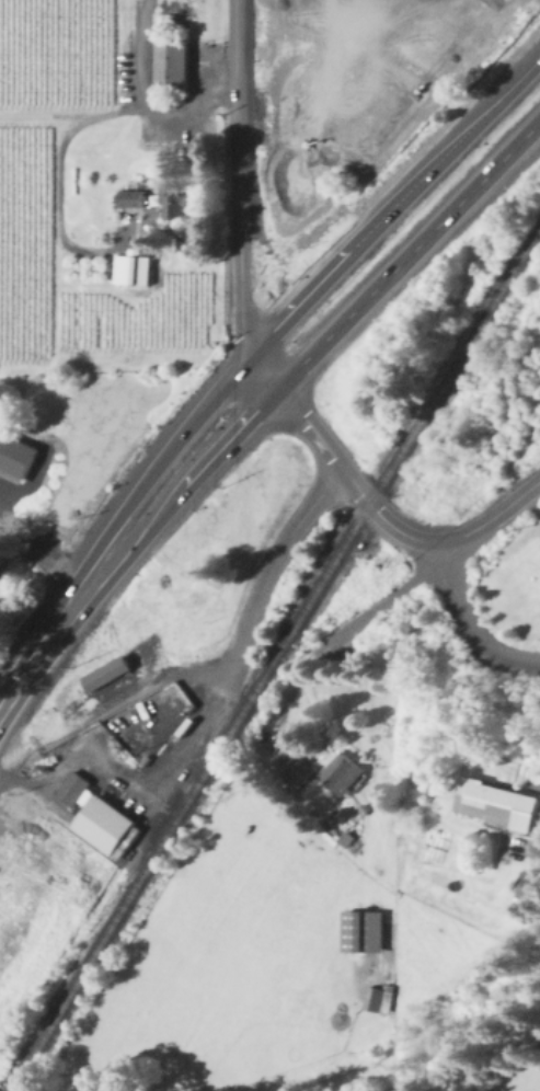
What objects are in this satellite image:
building: (171, 66)
crop: (361, 94)
road: (137, 101)
road: (58, 165)
building: (129, 198)
road: (235, 199)
road: (393, 206)
building: (173, 207)
road: (410, 254)
building: (133, 272)
building: (15, 459)
road: (349, 479)
road: (120, 514)
road: (492, 517)
road: (146, 538)
road: (38, 543)
road: (468, 624)
road: (248, 627)
road: (338, 632)
railway: (274, 657)
road: (206, 673)
building: (105, 674)
road: (8, 702)
road: (108, 716)
road: (19, 763)
building: (296, 773)
building: (342, 774)
building: (72, 790)
building: (495, 806)
building: (105, 827)
building: (530, 885)
building: (365, 933)
building: (375, 1000)

